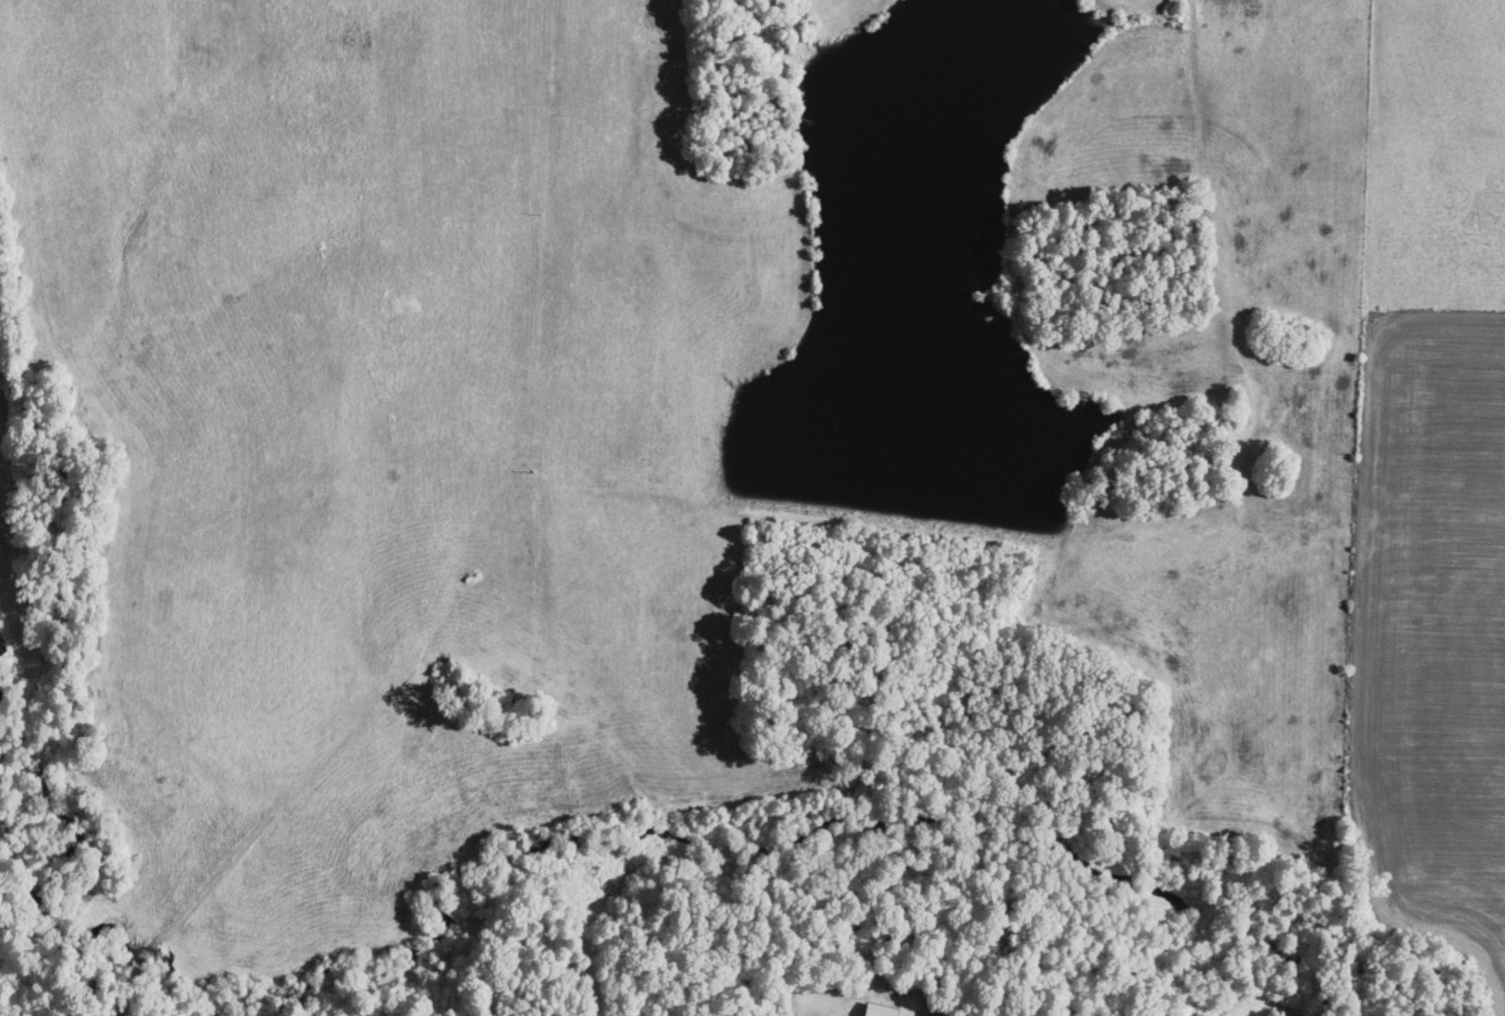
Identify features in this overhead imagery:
building: (876, 1010)

